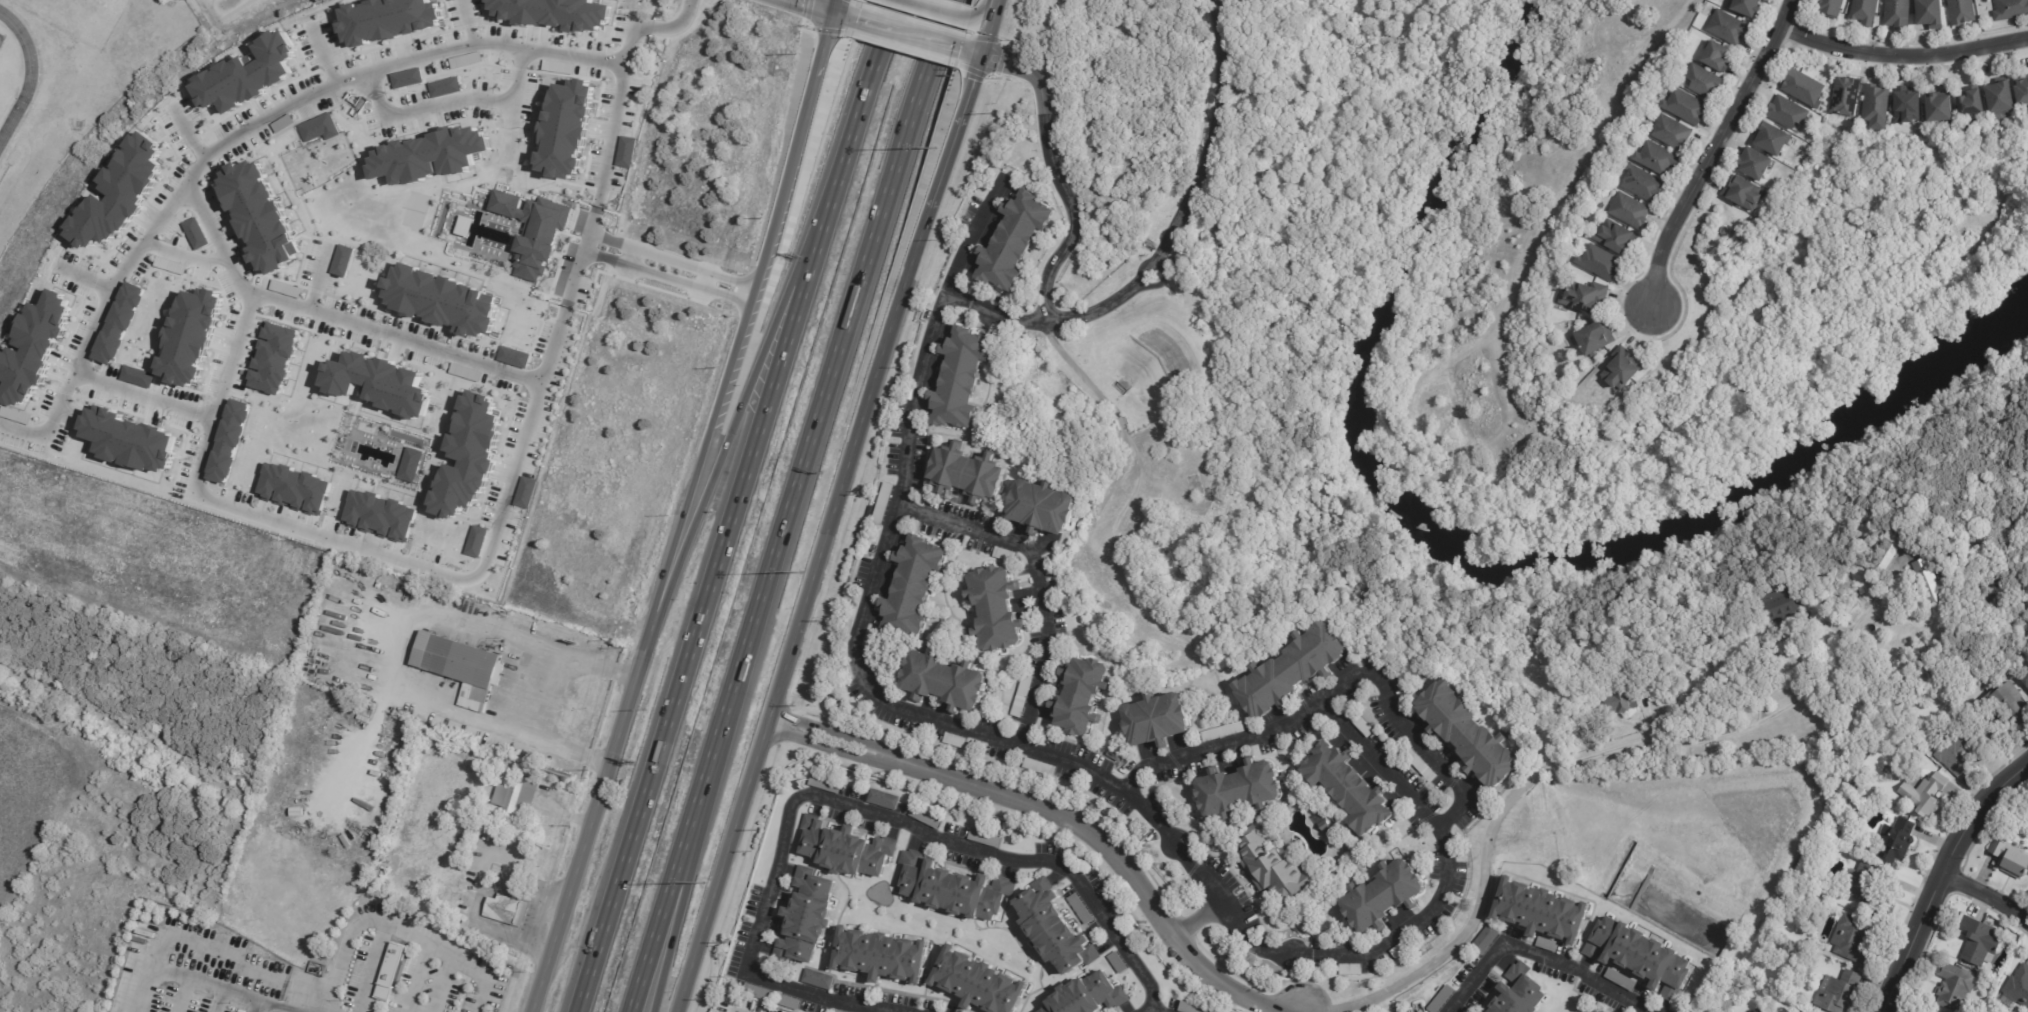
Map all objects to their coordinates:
road: (819, 3)
traffic signals: (834, 7)
building: (1744, 8)
building: (1828, 8)
road: (840, 9)
road: (939, 9)
road: (987, 10)
building: (2010, 10)
building: (1863, 12)
building: (1960, 12)
building: (1896, 14)
building: (1928, 14)
building: (554, 16)
building: (385, 21)
road: (467, 22)
road: (679, 25)
road: (993, 26)
building: (1726, 28)
road: (910, 30)
road: (631, 38)
road: (979, 51)
traffic signals: (985, 53)
road: (325, 55)
building: (1715, 58)
road: (1903, 58)
building: (466, 60)
building: (559, 67)
track: (28, 76)
building: (248, 78)
building: (406, 79)
road: (865, 81)
building: (1701, 82)
building: (444, 88)
building: (1801, 89)
building: (2021, 94)
building: (1844, 97)
road: (450, 100)
building: (1998, 100)
building: (1874, 105)
building: (1968, 105)
road: (287, 107)
building: (1684, 108)
building: (1905, 109)
building: (1936, 110)
building: (1785, 113)
building: (282, 124)
building: (318, 128)
building: (565, 131)
road: (1211, 131)
road: (188, 133)
building: (1670, 134)
building: (1770, 141)
road: (953, 147)
road: (1713, 149)
building: (626, 152)
building: (431, 157)
building: (1655, 160)
building: (1751, 166)
road: (1056, 179)
building: (1640, 184)
building: (116, 192)
building: (1739, 195)
park: (414, 210)
building: (1627, 212)
building: (259, 215)
building: (464, 227)
building: (529, 228)
building: (195, 234)
building: (1614, 239)
building: (1012, 242)
road: (188, 255)
road: (582, 257)
road: (633, 258)
building: (341, 260)
road: (672, 260)
building: (1598, 264)
building: (170, 265)
road: (83, 277)
road: (316, 279)
road: (667, 279)
road: (707, 281)
park: (1839, 284)
building: (288, 289)
road: (246, 290)
building: (1582, 298)
building: (440, 304)
road: (1110, 306)
road: (991, 309)
building: (118, 322)
road: (1822, 324)
road: (932, 335)
road: (396, 336)
building: (189, 337)
building: (1592, 340)
building: (35, 348)
building: (270, 355)
building: (514, 358)
building: (1619, 370)
building: (465, 374)
building: (137, 377)
building: (958, 378)
building: (375, 386)
building: (15, 416)
road: (734, 416)
road: (50, 423)
road: (1125, 434)
building: (129, 439)
building: (227, 440)
building: (469, 456)
building: (410, 466)
building: (966, 474)
building: (294, 489)
building: (525, 492)
building: (880, 504)
road: (685, 506)
road: (786, 506)
building: (1040, 507)
building: (378, 515)
road: (943, 520)
building: (476, 541)
building: (1891, 550)
building: (1002, 555)
road: (436, 565)
building: (1932, 583)
road: (707, 587)
building: (910, 589)
building: (1778, 605)
building: (995, 609)
road: (797, 626)
road: (400, 649)
building: (458, 664)
building: (1289, 670)
building: (2025, 680)
building: (943, 682)
road: (530, 691)
building: (1020, 696)
building: (1081, 696)
building: (1619, 700)
building: (2007, 701)
building: (367, 712)
building: (395, 719)
building: (1155, 721)
building: (1362, 727)
building: (1220, 732)
road: (1413, 734)
building: (1466, 734)
road: (363, 741)
building: (952, 741)
building: (411, 746)
road: (1362, 746)
building: (1960, 751)
building: (1113, 754)
building: (1417, 764)
road: (1573, 766)
building: (1037, 768)
building: (276, 777)
building: (822, 783)
building: (1853, 787)
building: (1346, 789)
building: (1237, 791)
building: (1923, 794)
building: (520, 797)
building: (883, 799)
road: (863, 811)
building: (923, 817)
road: (1061, 819)
building: (1323, 826)
building: (1990, 835)
building: (982, 838)
building: (1893, 841)
fountain: (1295, 846)
building: (846, 849)
road: (691, 850)
parking lot: (495, 858)
building: (2009, 860)
building: (1269, 867)
road: (1943, 882)
building: (1864, 886)
road: (507, 889)
building: (953, 889)
building: (1381, 897)
road: (1988, 898)
building: (502, 908)
building: (1078, 908)
building: (1539, 912)
building: (521, 913)
parking lot: (529, 916)
building: (805, 918)
road: (1197, 924)
road: (485, 925)
road: (394, 929)
building: (1052, 934)
building: (1979, 938)
building: (1851, 939)
building: (1483, 940)
building: (1546, 945)
building: (1401, 950)
building: (880, 956)
road: (1542, 956)
building: (1639, 956)
building: (1115, 962)
building: (1348, 970)
building: (390, 972)
building: (818, 980)
building: (1619, 981)
building: (978, 983)
building: (2018, 985)
building: (1952, 987)
building: (1838, 991)
building: (756, 992)
building: (1520, 993)
building: (1088, 996)
building: (1439, 999)
building: (786, 1001)
road: (274, 1002)
building: (1189, 1008)
building: (1592, 1010)
building: (1756, 1010)
building: (1922, 1010)
building: (836, 1011)
road: (1151, 1011)
road: (1155, 1011)

